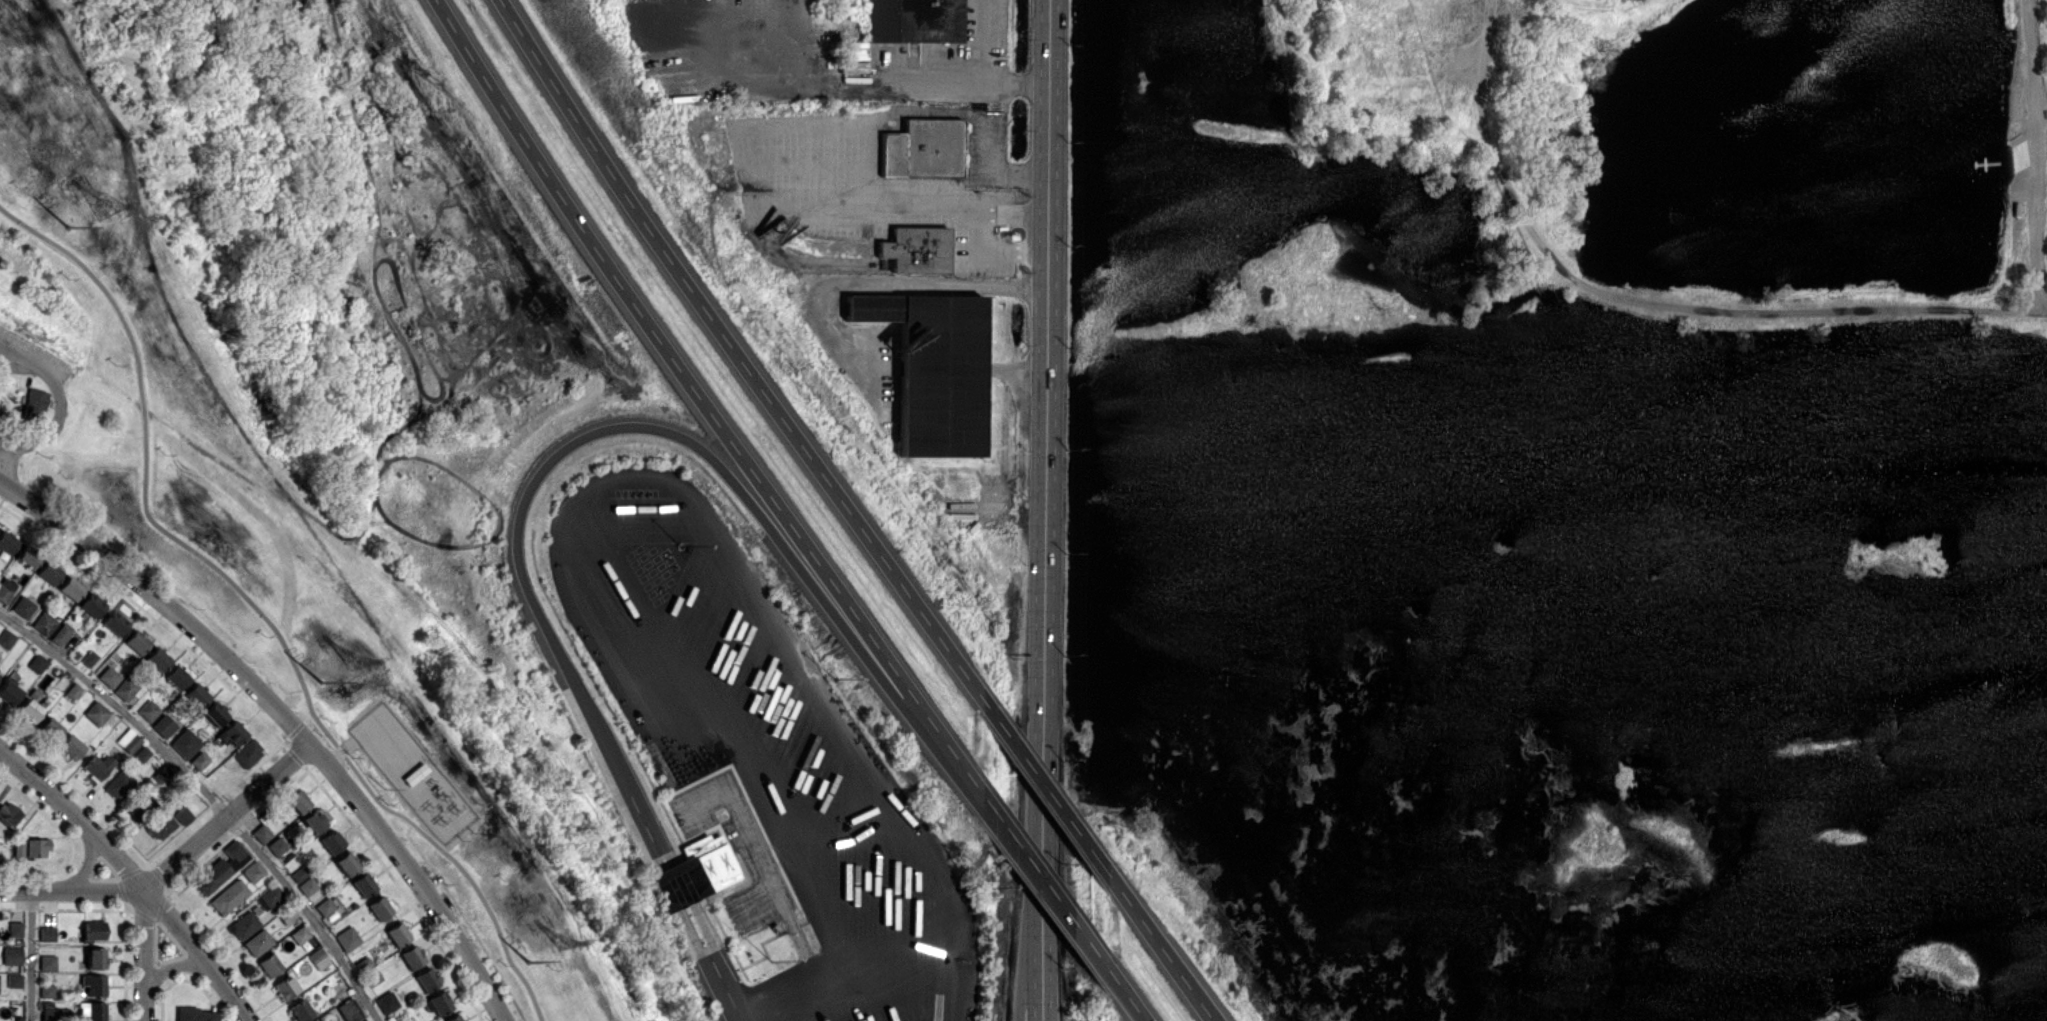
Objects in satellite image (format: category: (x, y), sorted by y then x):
building: (914, 20)
road: (992, 64)
building: (828, 78)
building: (924, 148)
road: (924, 205)
power tower: (105, 207)
power tower: (68, 226)
building: (918, 249)
road: (995, 250)
road: (891, 286)
building: (874, 307)
road: (734, 349)
road: (19, 362)
road: (1026, 370)
building: (942, 375)
road: (55, 381)
road: (701, 398)
building: (34, 404)
road: (20, 443)
road: (530, 487)
road: (1046, 510)
road: (712, 537)
building: (6, 542)
building: (27, 557)
building: (49, 572)
building: (70, 588)
building: (5, 589)
building: (25, 605)
building: (91, 605)
road: (257, 607)
building: (43, 622)
building: (115, 622)
building: (61, 634)
building: (6, 638)
building: (136, 641)
building: (157, 658)
power tower: (354, 662)
building: (37, 663)
building: (109, 676)
building: (176, 677)
power tower: (322, 681)
building: (124, 689)
building: (73, 690)
building: (8, 691)
building: (196, 694)
building: (28, 709)
building: (148, 709)
building: (96, 713)
building: (215, 713)
road: (283, 723)
building: (163, 725)
building: (50, 728)
building: (231, 733)
building: (128, 740)
building: (185, 743)
building: (71, 746)
road: (340, 750)
building: (247, 753)
building: (142, 754)
building: (200, 760)
building: (97, 766)
power substation: (412, 772)
building: (161, 774)
building: (118, 784)
road: (1043, 784)
road: (211, 796)
building: (297, 801)
building: (9, 813)
building: (183, 815)
road: (226, 820)
building: (313, 821)
building: (160, 826)
building: (261, 833)
building: (330, 841)
building: (276, 845)
building: (18, 847)
building: (36, 847)
road: (762, 859)
building: (346, 863)
road: (86, 866)
building: (221, 868)
building: (253, 871)
building: (298, 873)
building: (693, 873)
road: (129, 877)
road: (1043, 878)
building: (363, 884)
toll booth: (677, 885)
building: (307, 886)
road: (71, 890)
building: (271, 895)
building: (229, 896)
building: (324, 906)
building: (379, 907)
building: (244, 925)
building: (15, 928)
building: (93, 930)
building: (46, 933)
building: (397, 934)
building: (303, 937)
building: (347, 938)
power tower: (563, 941)
building: (257, 942)
road: (1162, 948)
building: (11, 955)
road: (30, 955)
road: (142, 955)
building: (95, 957)
building: (411, 957)
building: (318, 958)
building: (47, 962)
power tower: (528, 963)
building: (269, 965)
road: (165, 969)
road: (943, 969)
road: (1028, 972)
building: (426, 979)
building: (14, 980)
building: (93, 984)
building: (285, 987)
road: (843, 990)
building: (47, 991)
road: (1127, 994)
building: (386, 1002)
building: (439, 1002)
building: (92, 1010)
building: (301, 1010)
building: (349, 1010)
building: (54, 1012)
building: (195, 1014)
building: (452, 1018)
building: (365, 1020)

